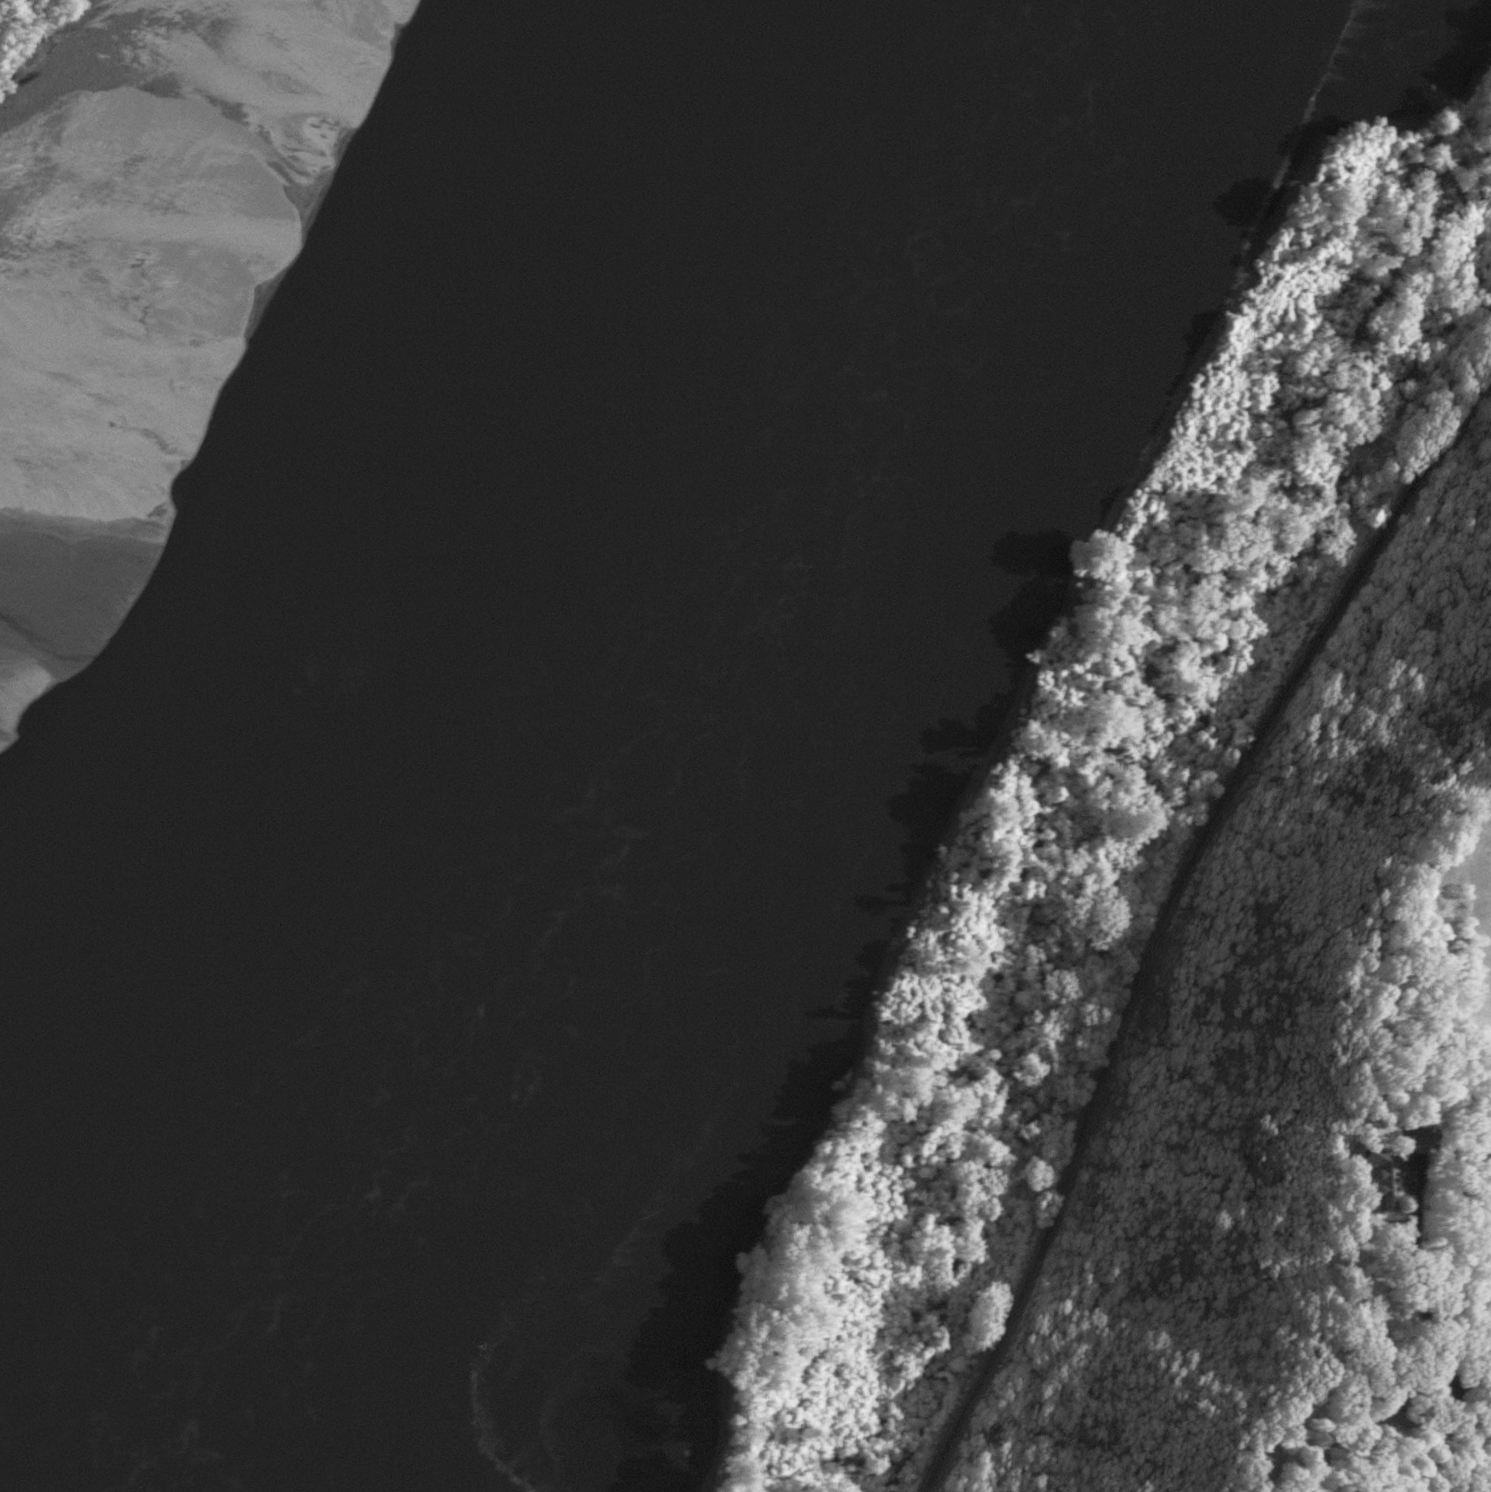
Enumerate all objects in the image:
river: (476, 661)
railway: (1164, 909)
building: (1426, 1137)
building: (1390, 1178)
road: (1422, 1297)
road: (1380, 1416)

